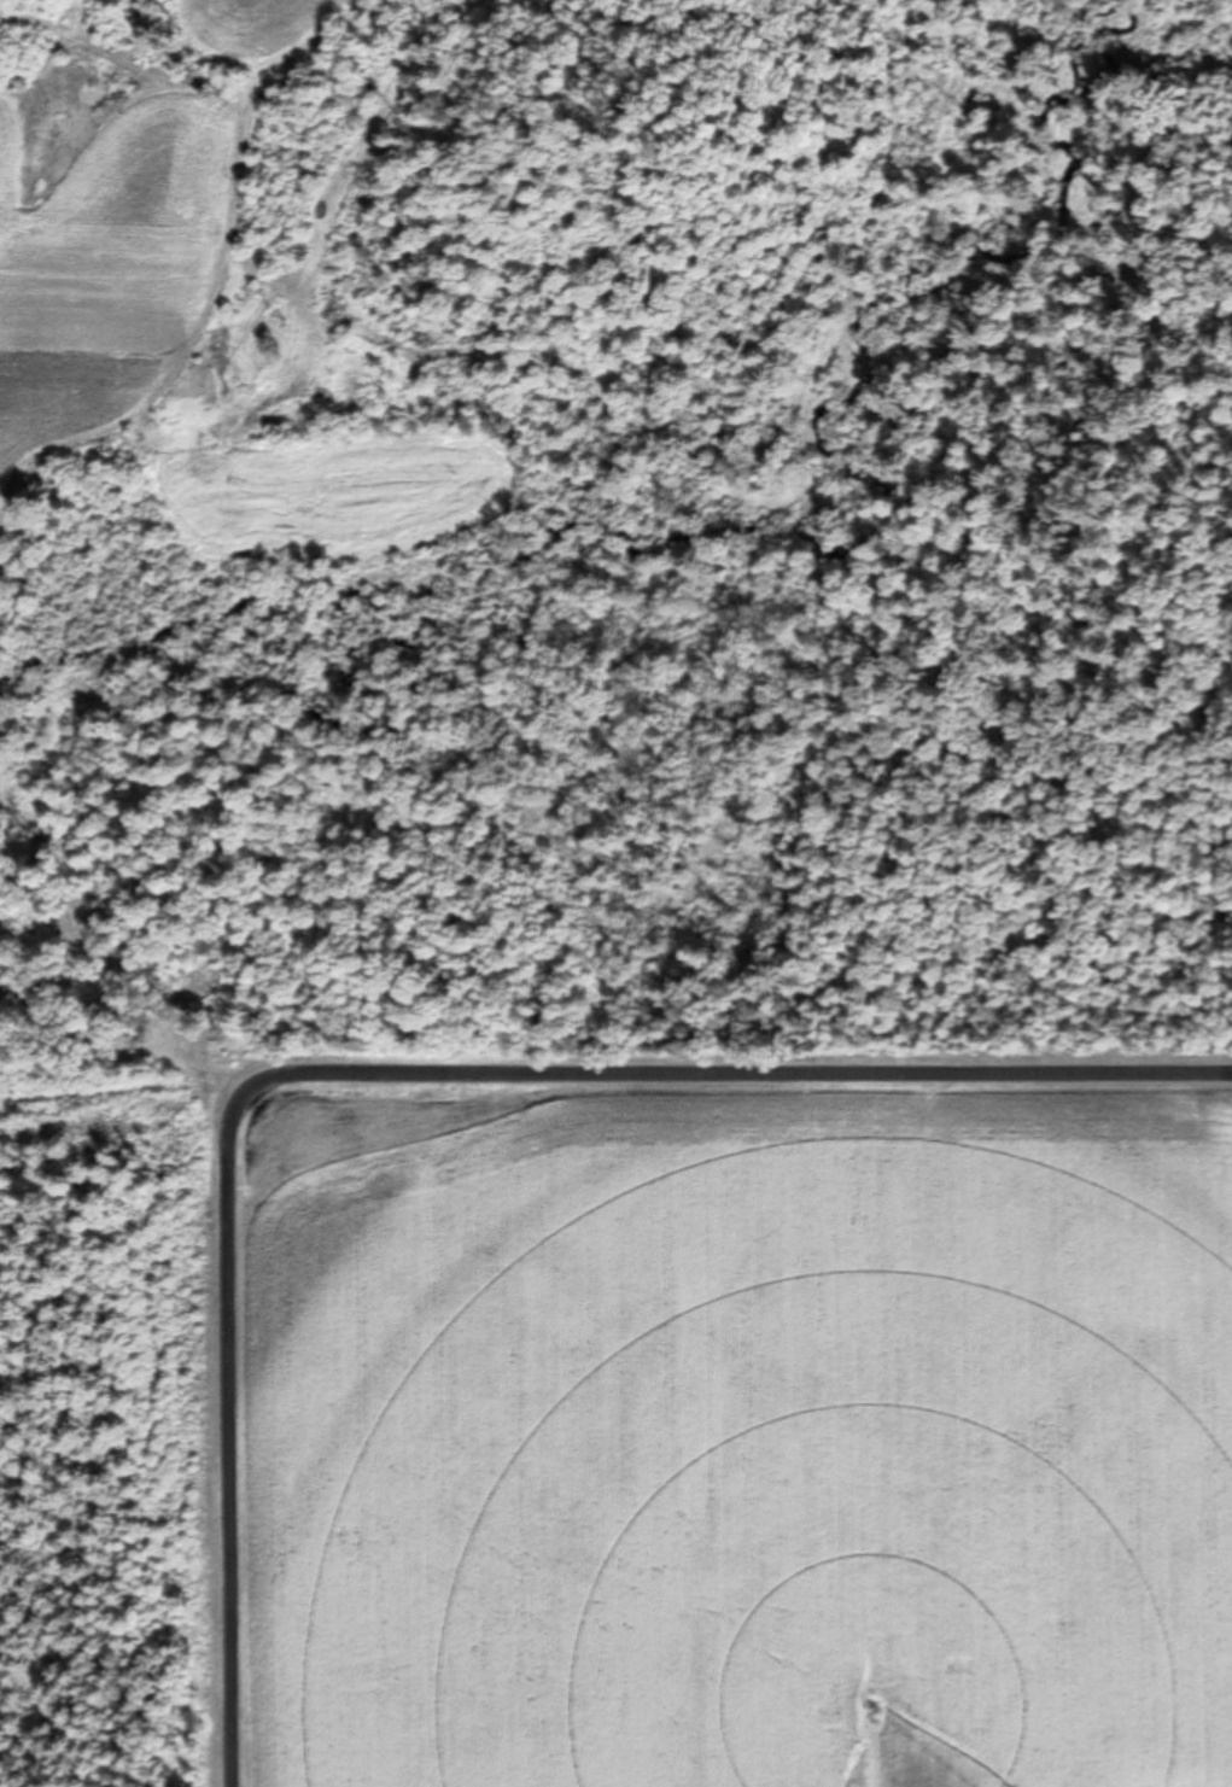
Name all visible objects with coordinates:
road: (386, 1074)

